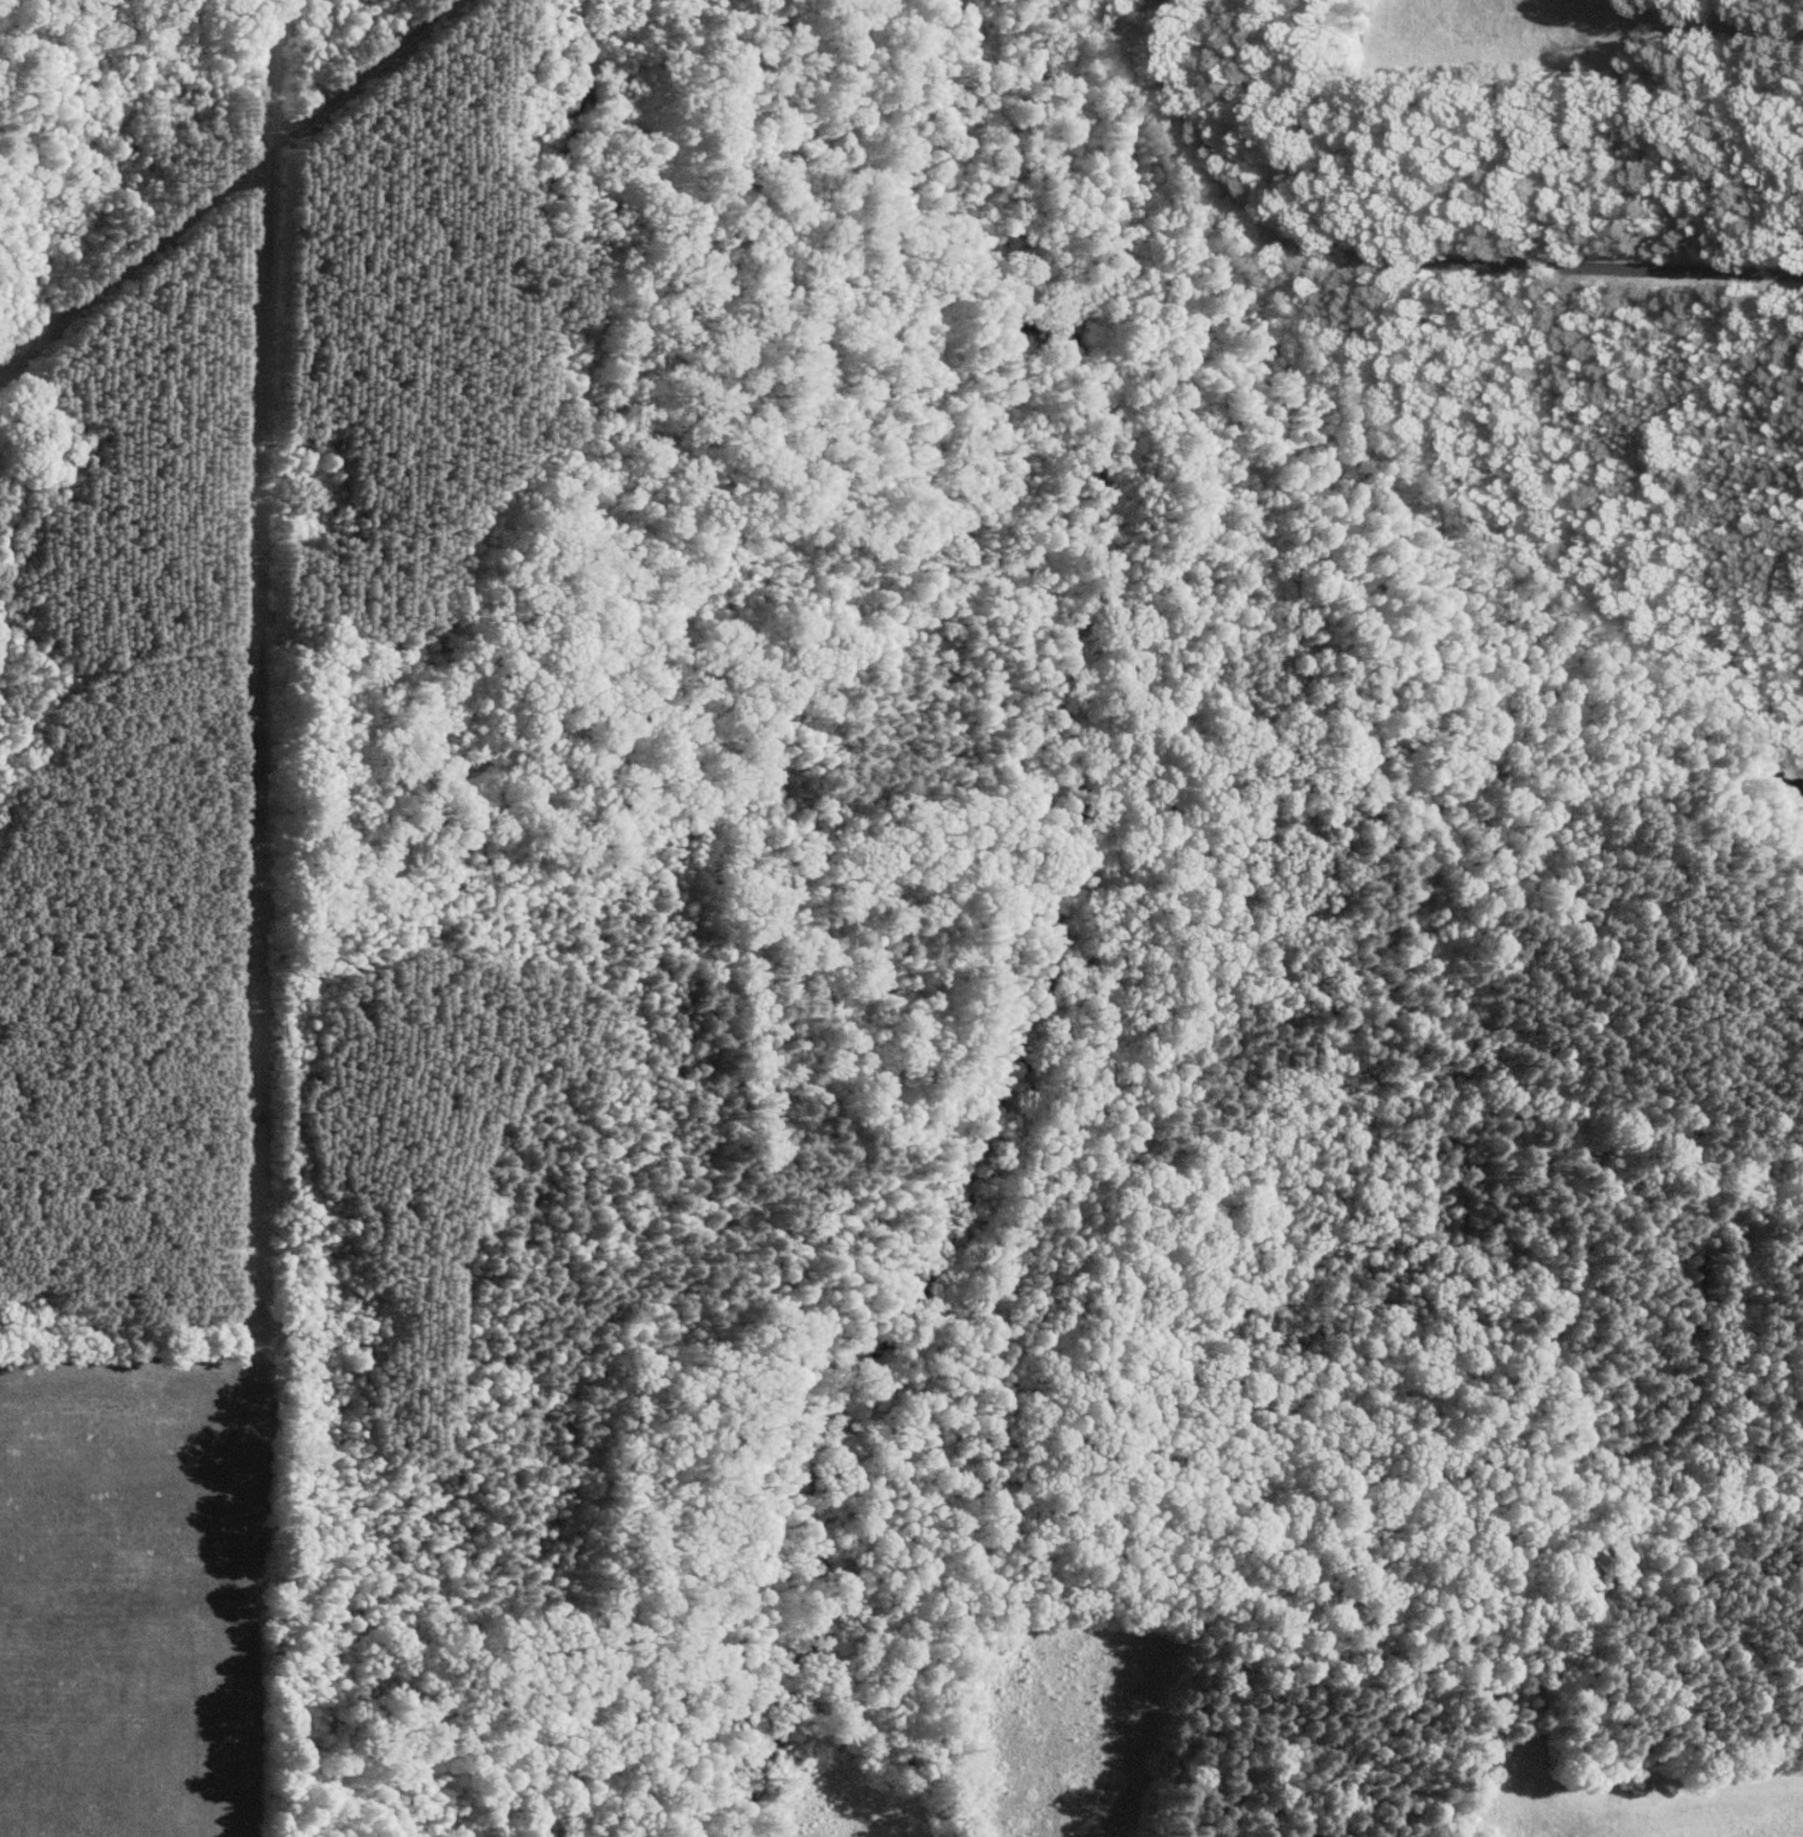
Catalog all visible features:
road: (1761, 57)
road: (1371, 256)

